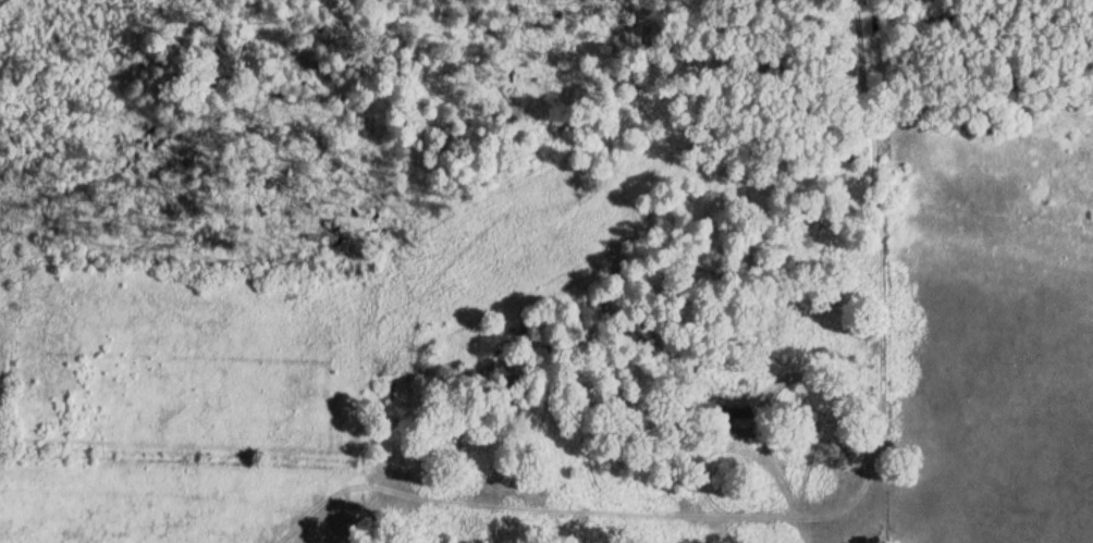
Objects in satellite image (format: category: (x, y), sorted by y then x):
building: (733, 421)

